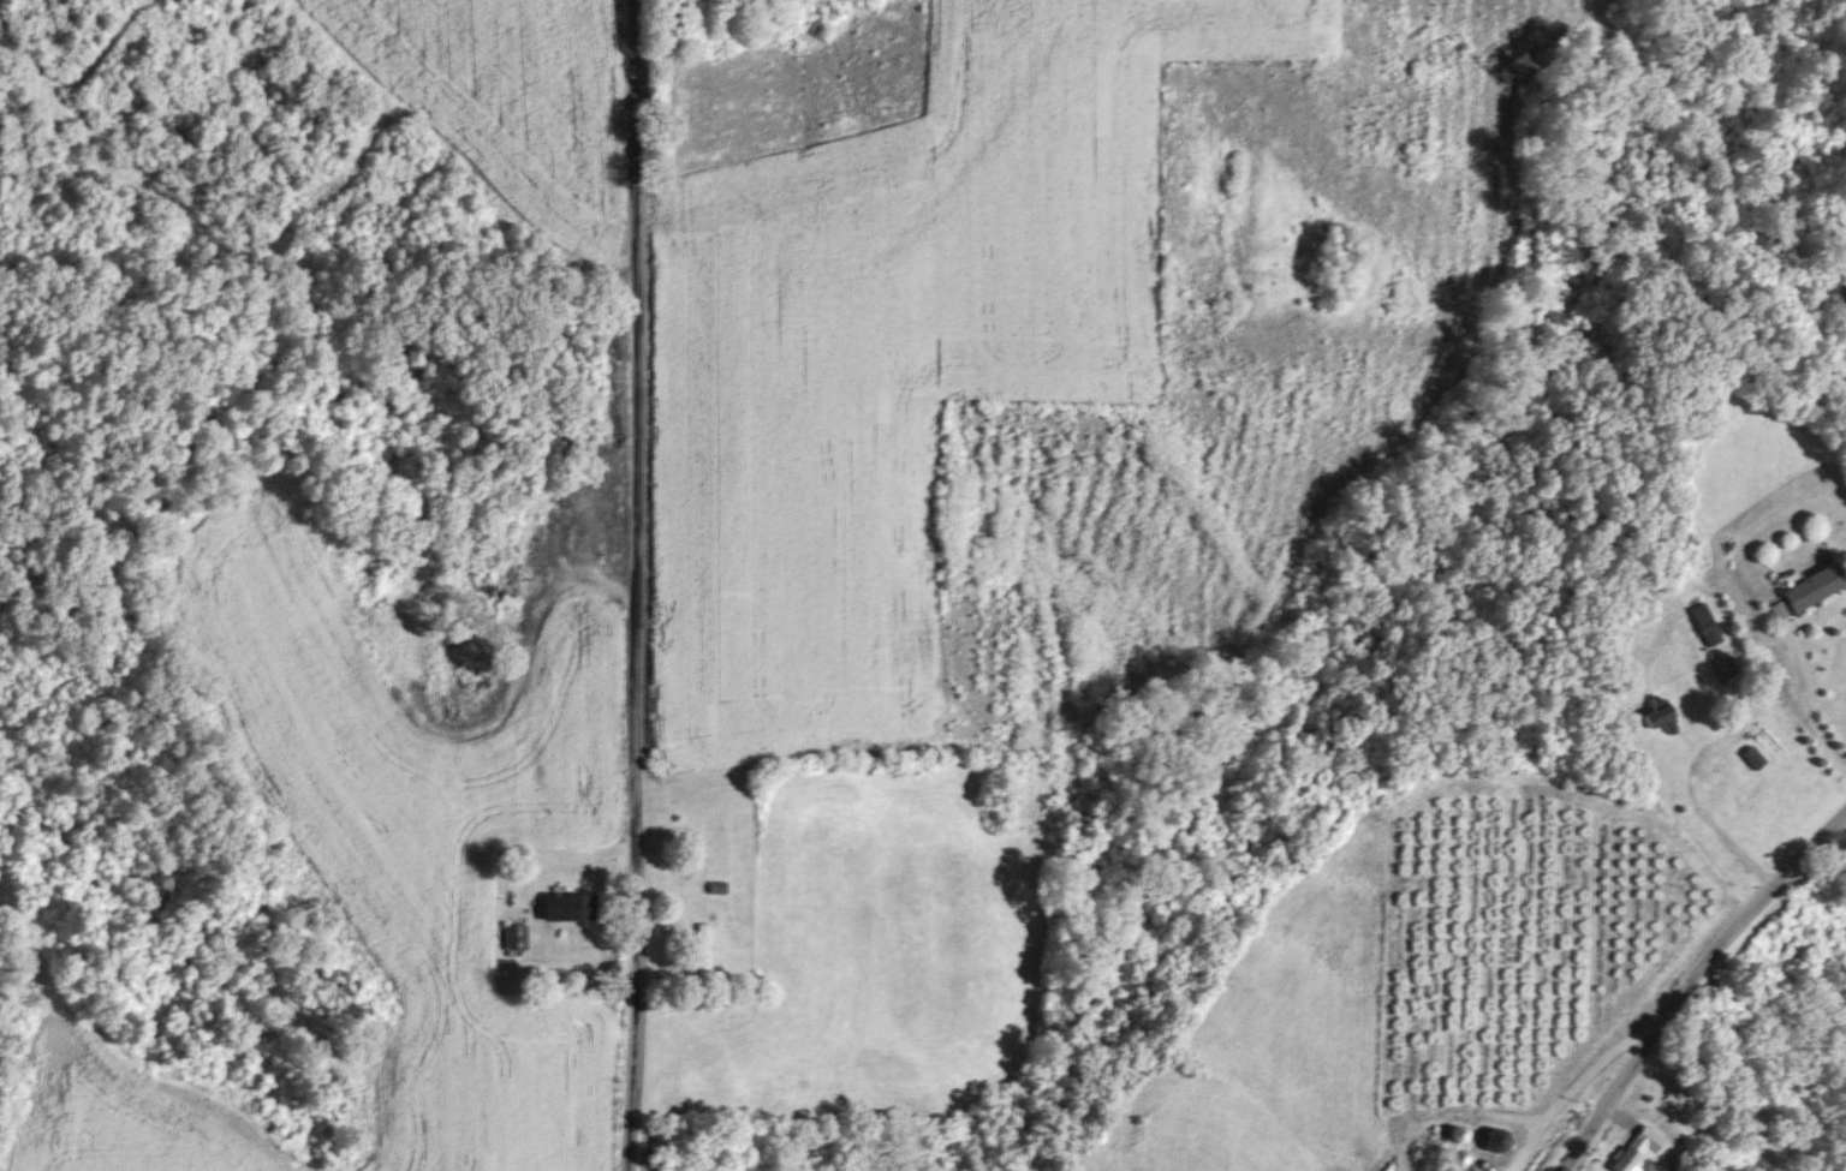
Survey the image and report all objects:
crop: (523, 95)
crop: (1048, 345)
road: (633, 585)
building: (1816, 586)
building: (1708, 623)
road: (1810, 698)
building: (1660, 716)
building: (1755, 757)
road: (1713, 820)
road: (556, 860)
building: (570, 907)
building: (516, 937)
building: (704, 950)
road: (1689, 980)
road: (1571, 1091)
building: (1495, 1140)
building: (1638, 1151)
building: (1452, 1170)

